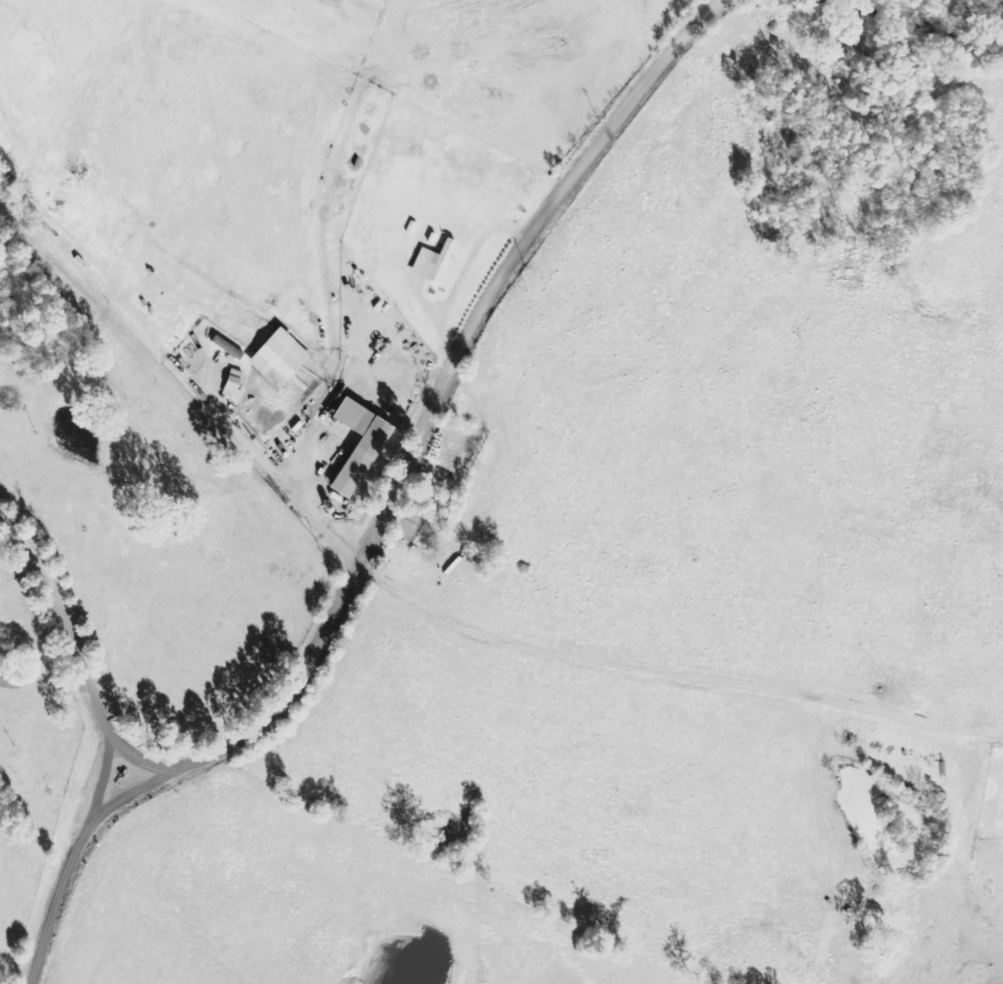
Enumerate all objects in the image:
building: (437, 262)
building: (231, 347)
building: (284, 358)
building: (237, 383)
road: (453, 422)
building: (364, 444)
road: (71, 648)
road: (680, 672)
road: (63, 882)

